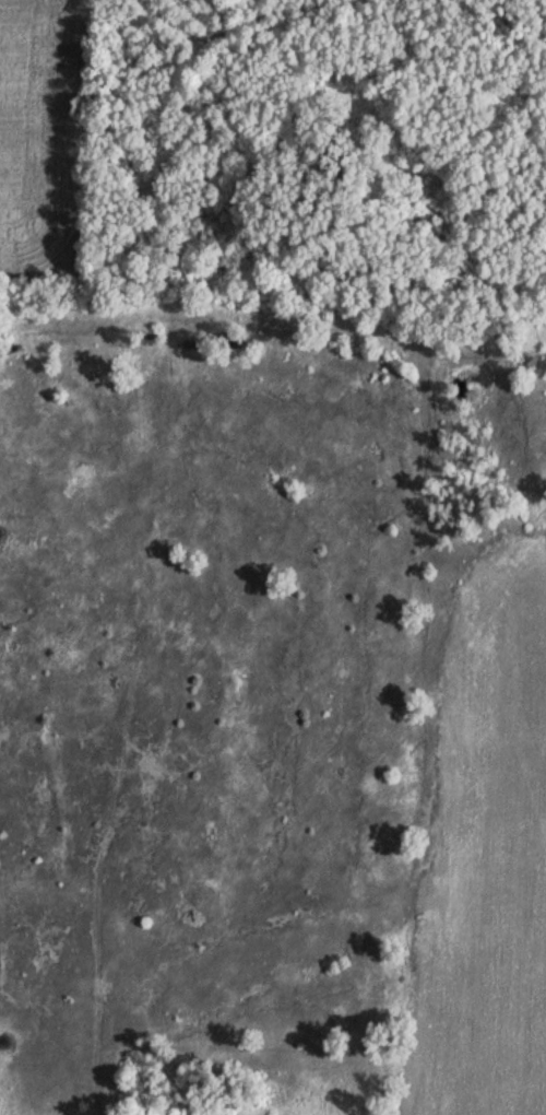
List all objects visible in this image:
road: (107, 1047)

